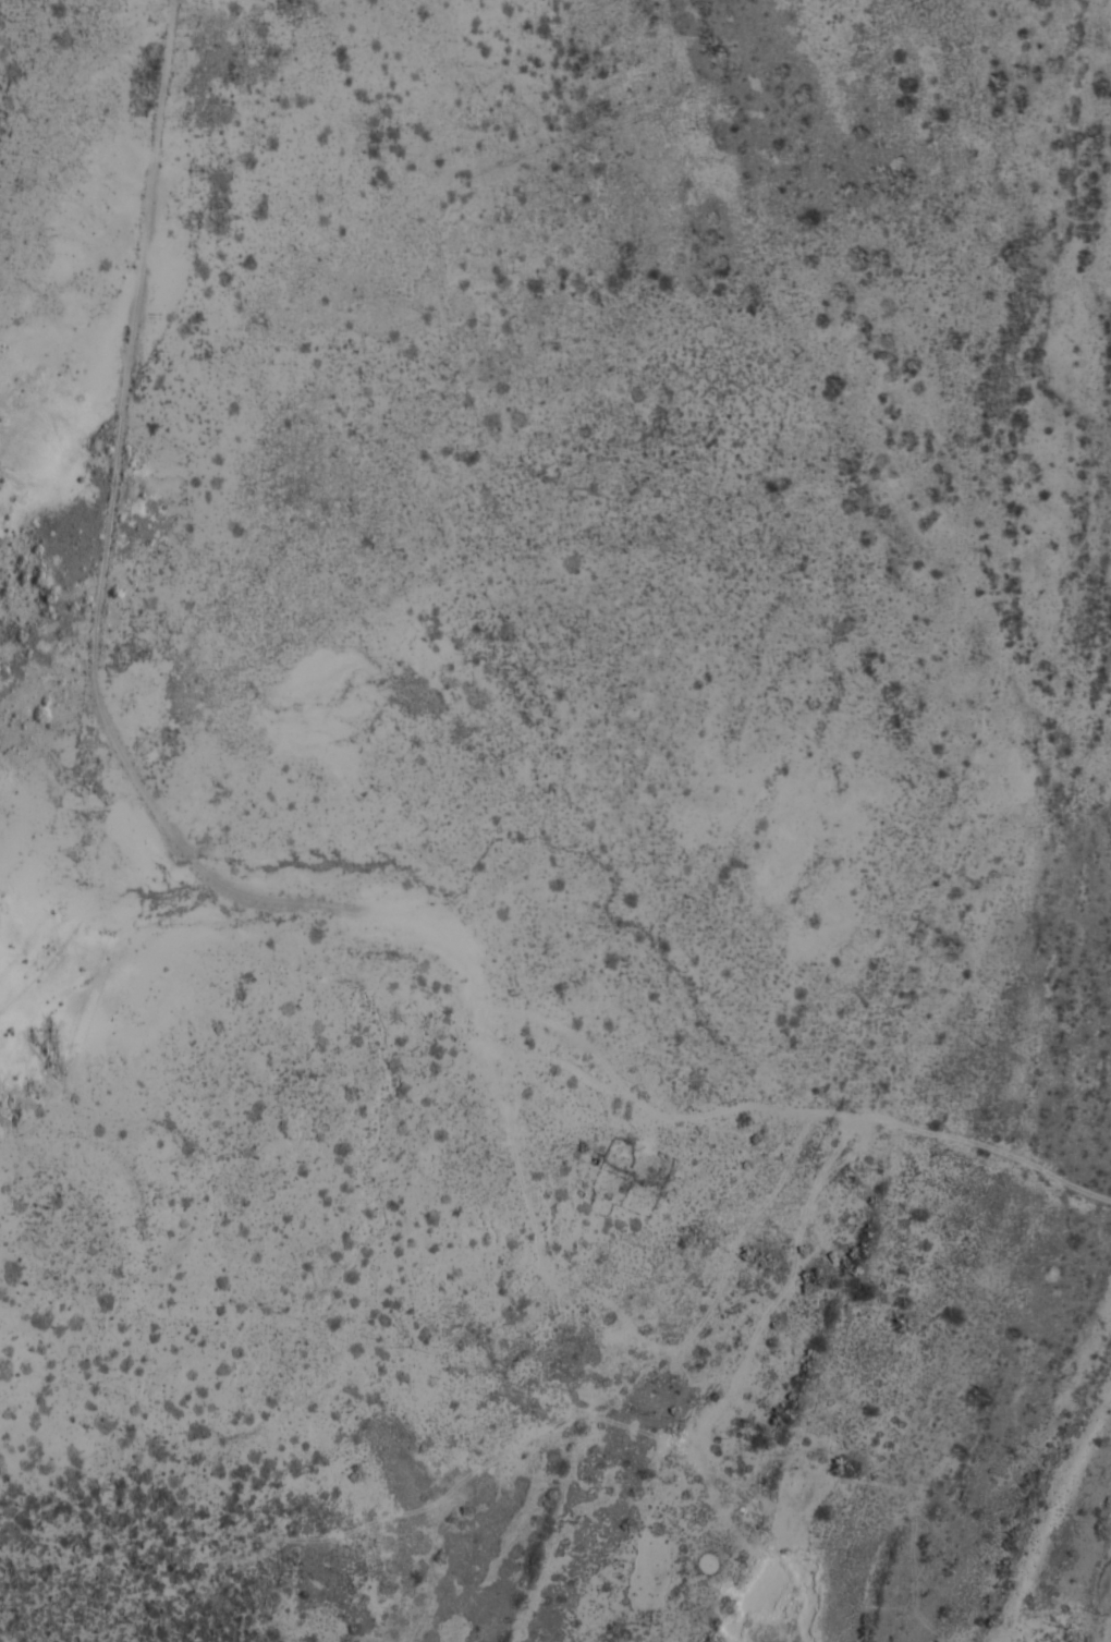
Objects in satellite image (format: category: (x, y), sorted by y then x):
road: (119, 878)
road: (258, 900)

